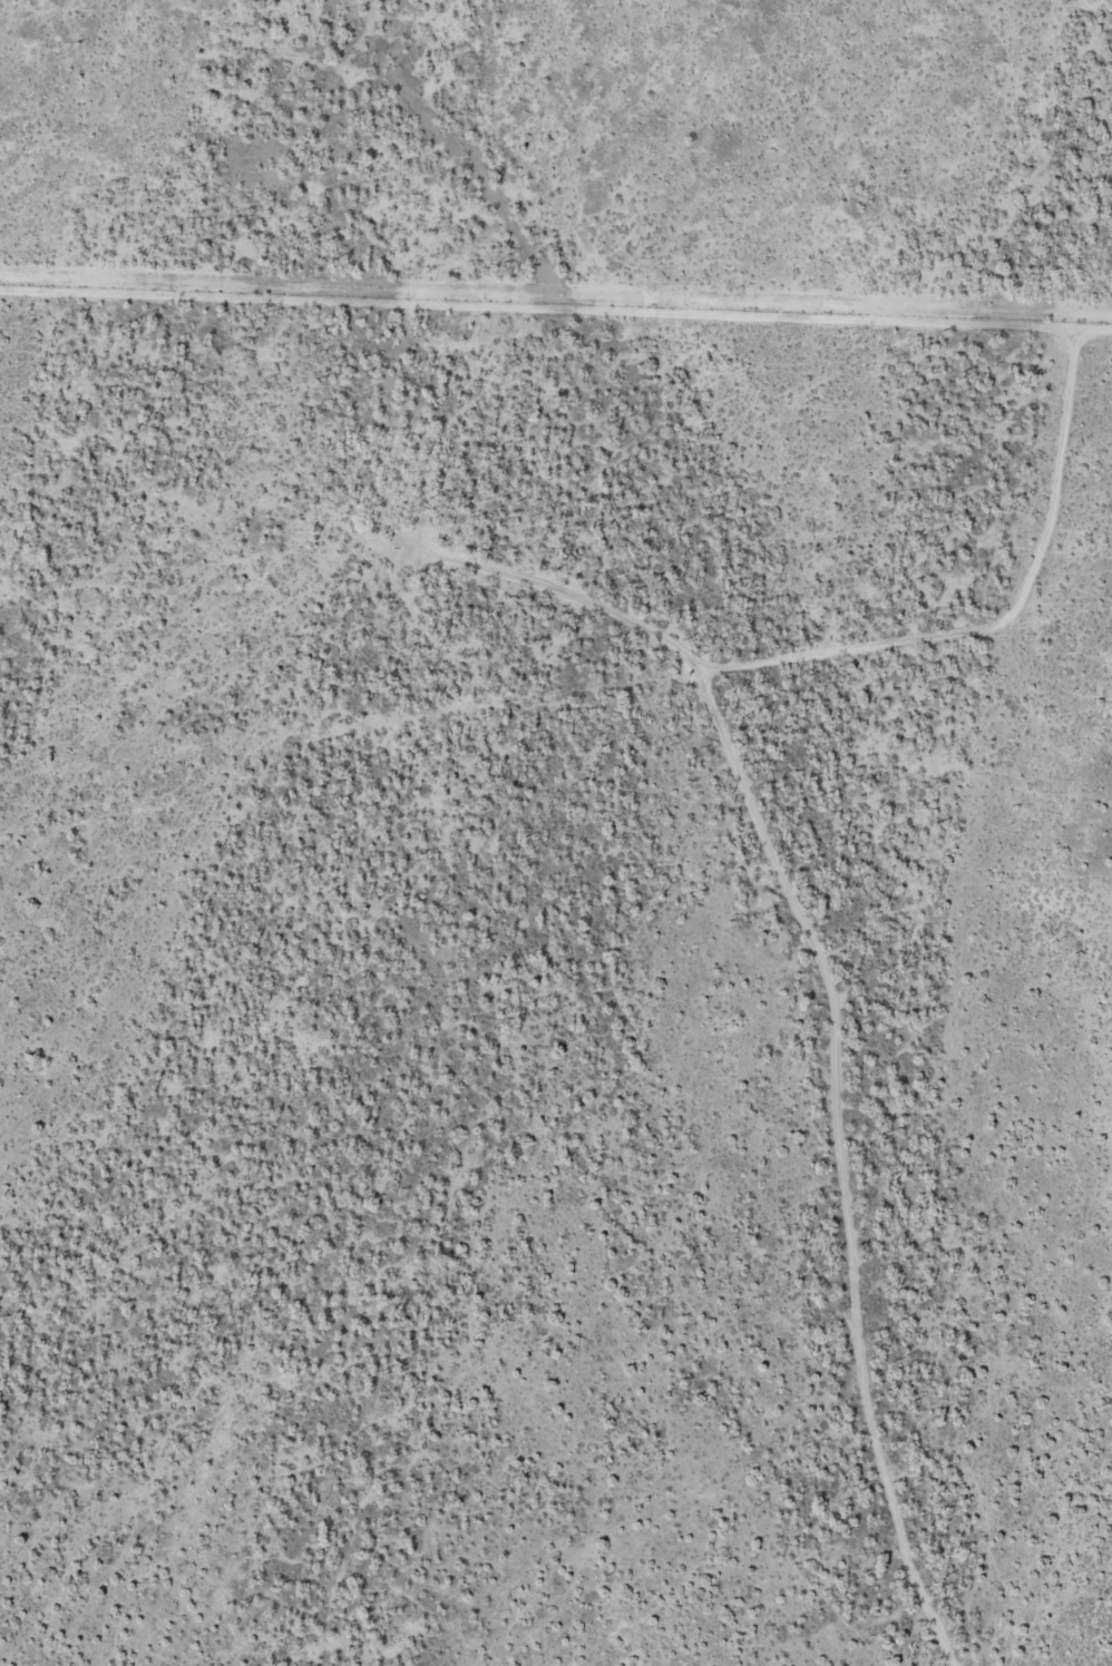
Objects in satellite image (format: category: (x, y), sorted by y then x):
road: (555, 306)
road: (567, 589)
road: (784, 870)

